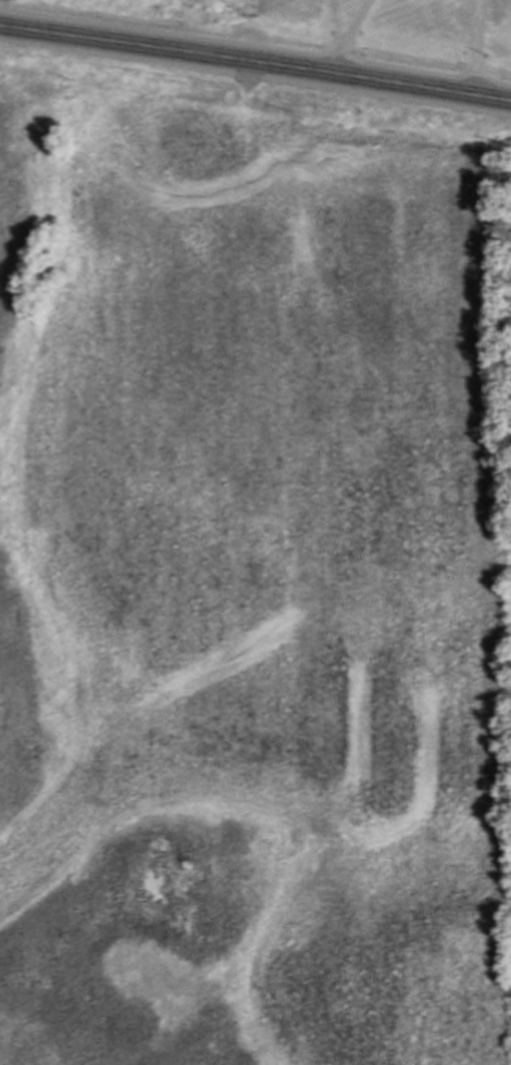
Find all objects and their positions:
road: (348, 35)
road: (475, 46)
road: (255, 62)

